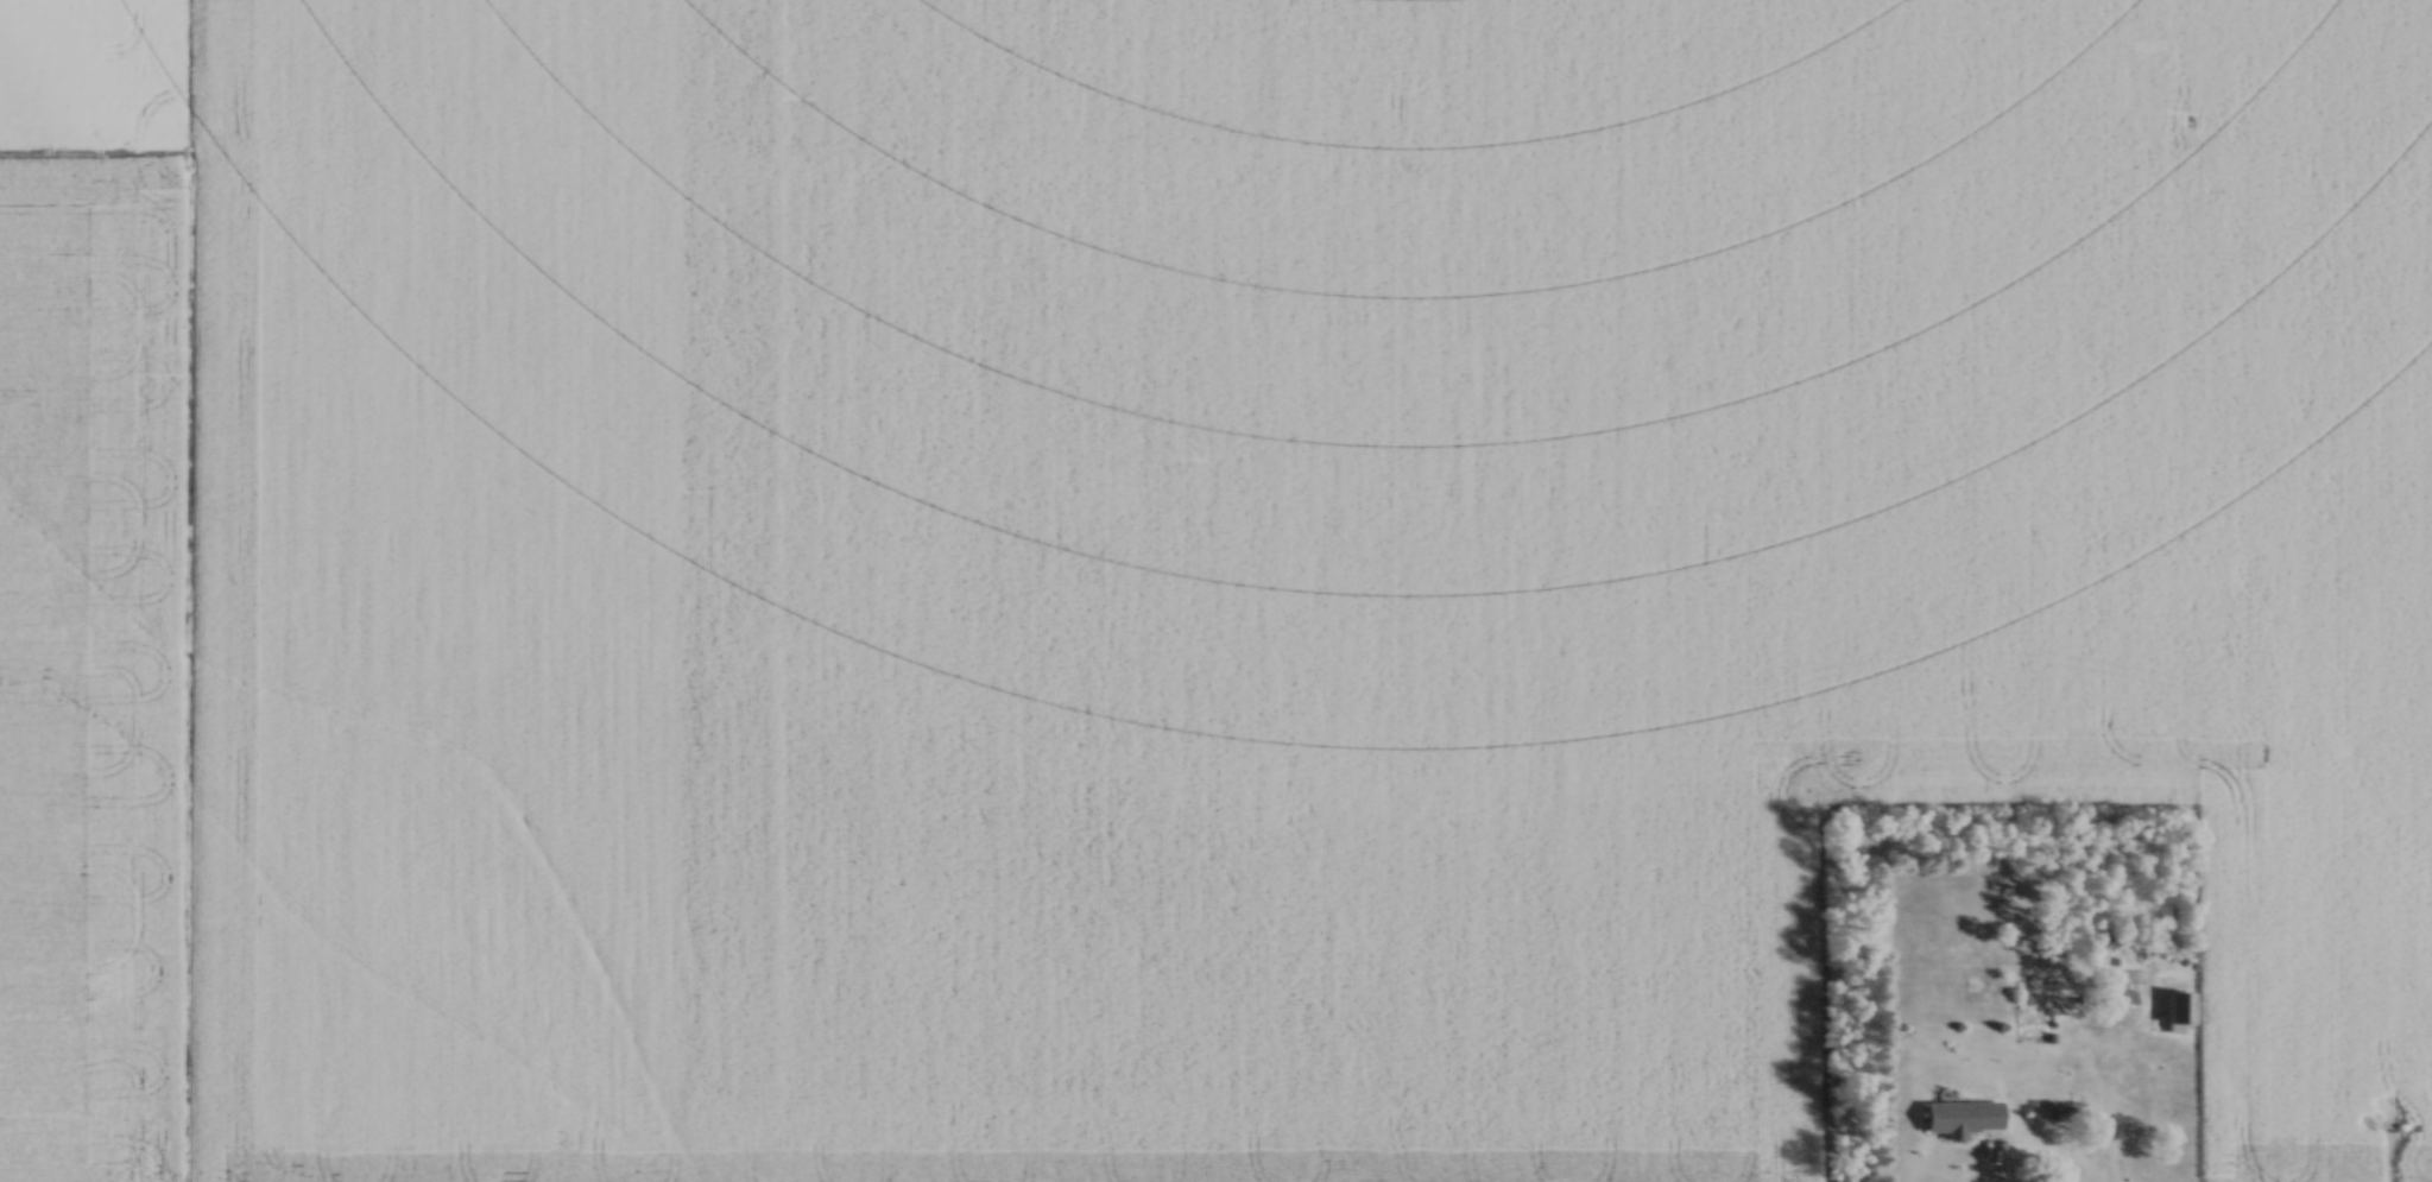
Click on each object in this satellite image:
building: (2177, 1009)
road: (2229, 1087)
building: (2066, 1110)
building: (1960, 1113)

